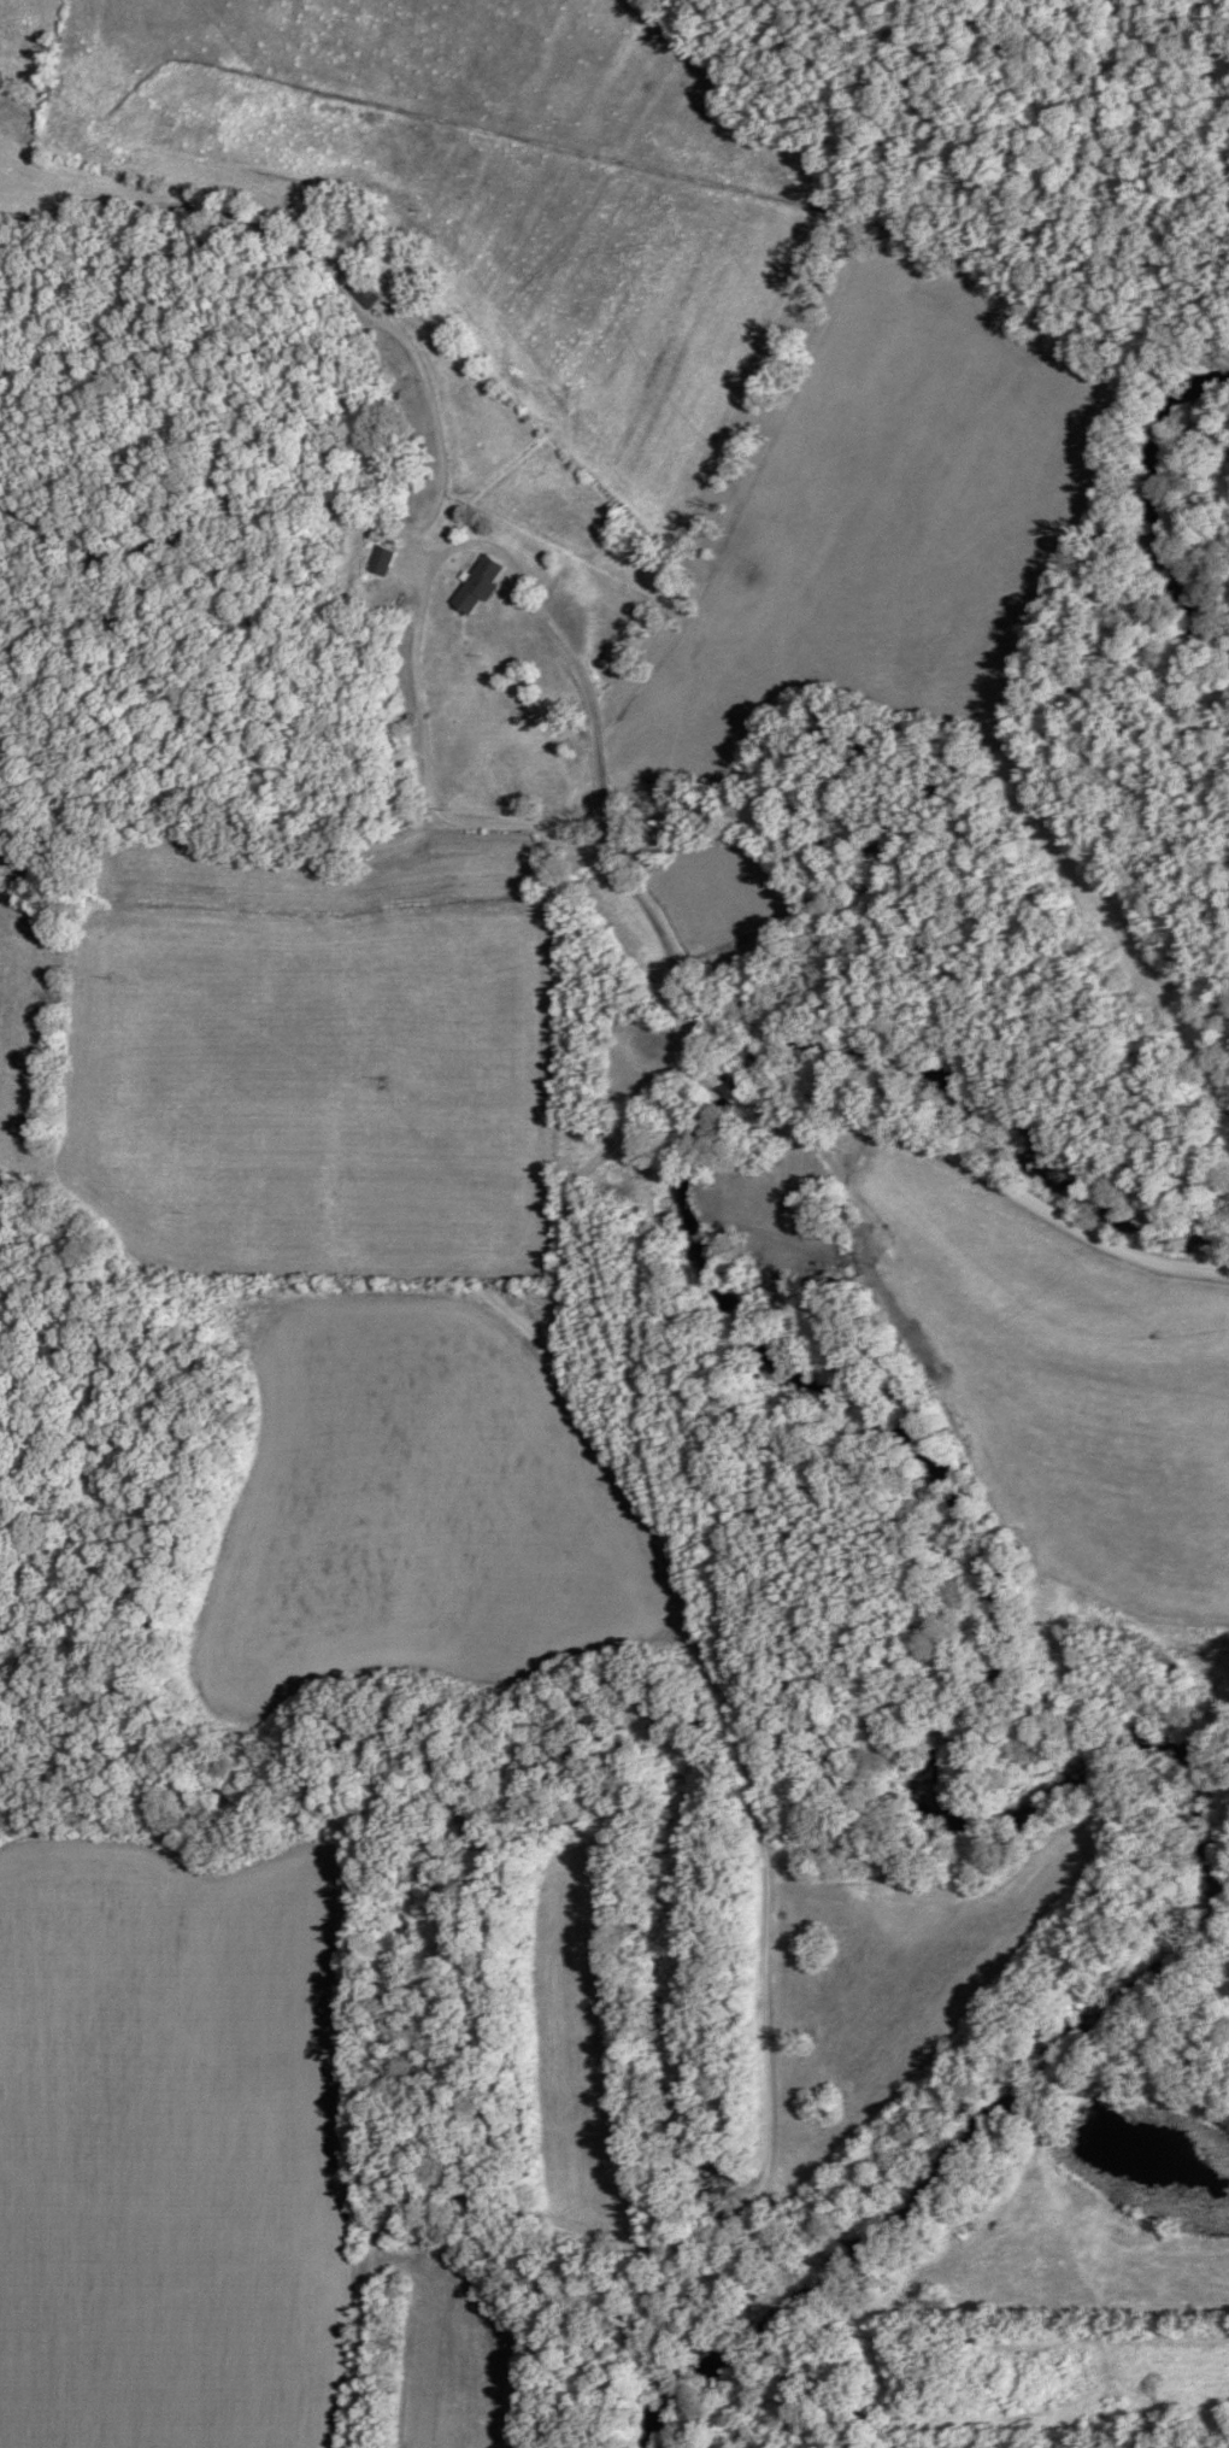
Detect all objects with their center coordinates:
building: (361, 292)
building: (381, 560)
building: (477, 585)
road: (694, 1029)

